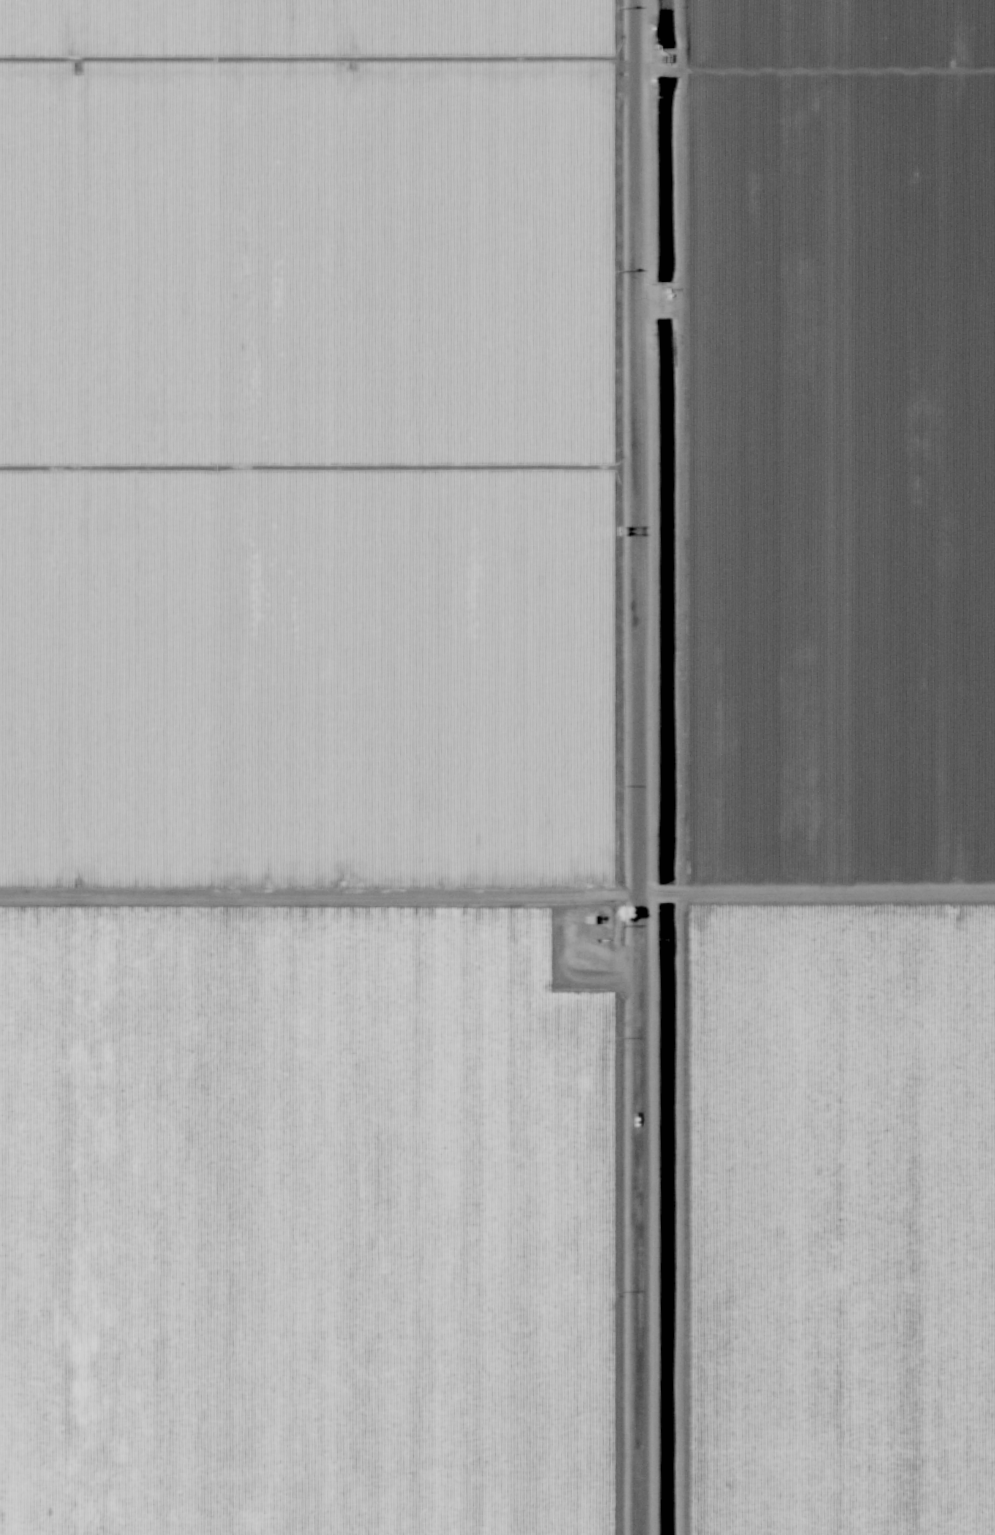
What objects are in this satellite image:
crop: (818, 766)
crop: (320, 767)
road: (627, 767)

